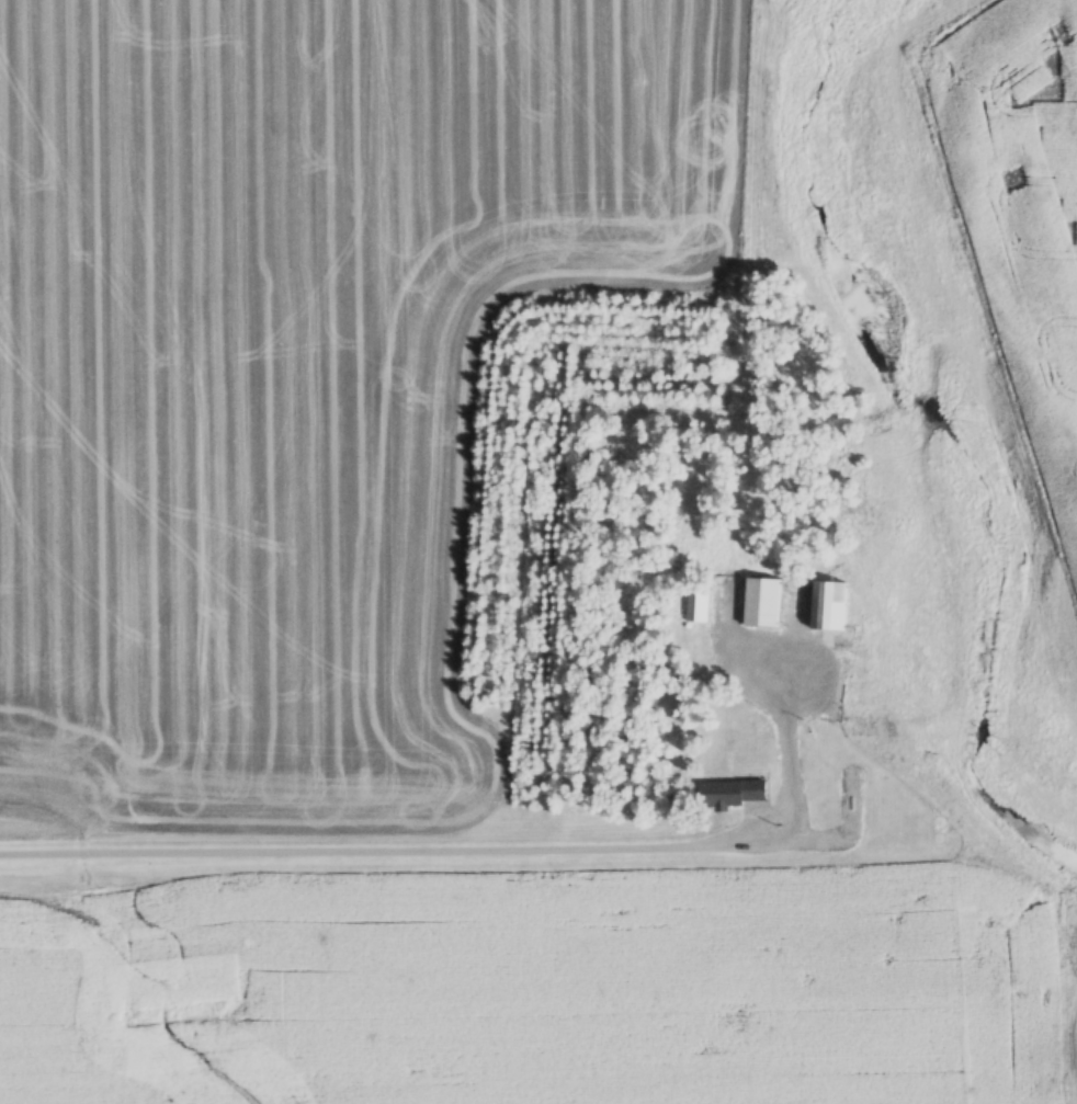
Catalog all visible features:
building: (766, 602)
building: (696, 605)
building: (831, 605)
building: (735, 794)

